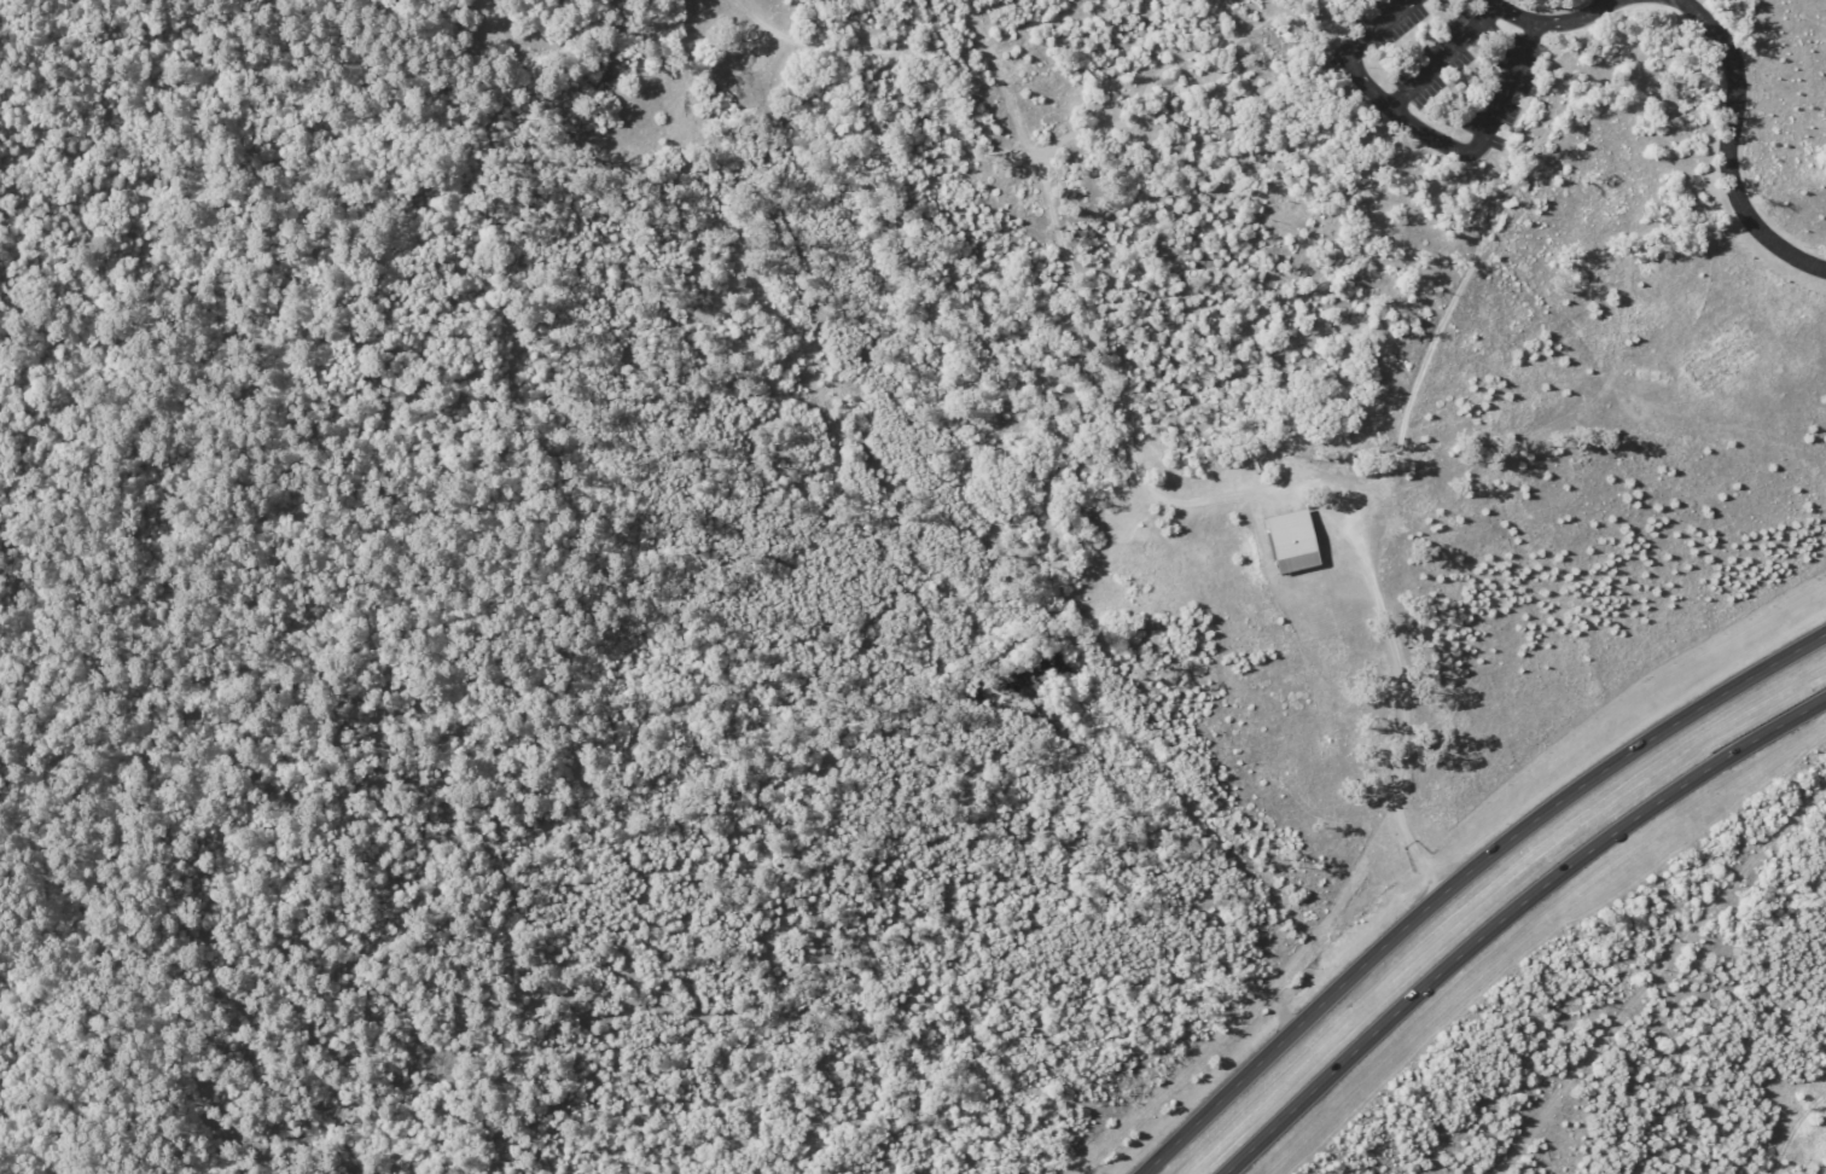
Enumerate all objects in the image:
road: (1598, 2)
road: (1636, 11)
road: (1501, 23)
road: (1576, 35)
road: (1442, 72)
road: (1417, 141)
road: (1728, 147)
building: (1295, 541)
road: (1388, 639)
road: (1462, 877)
road: (1507, 913)

